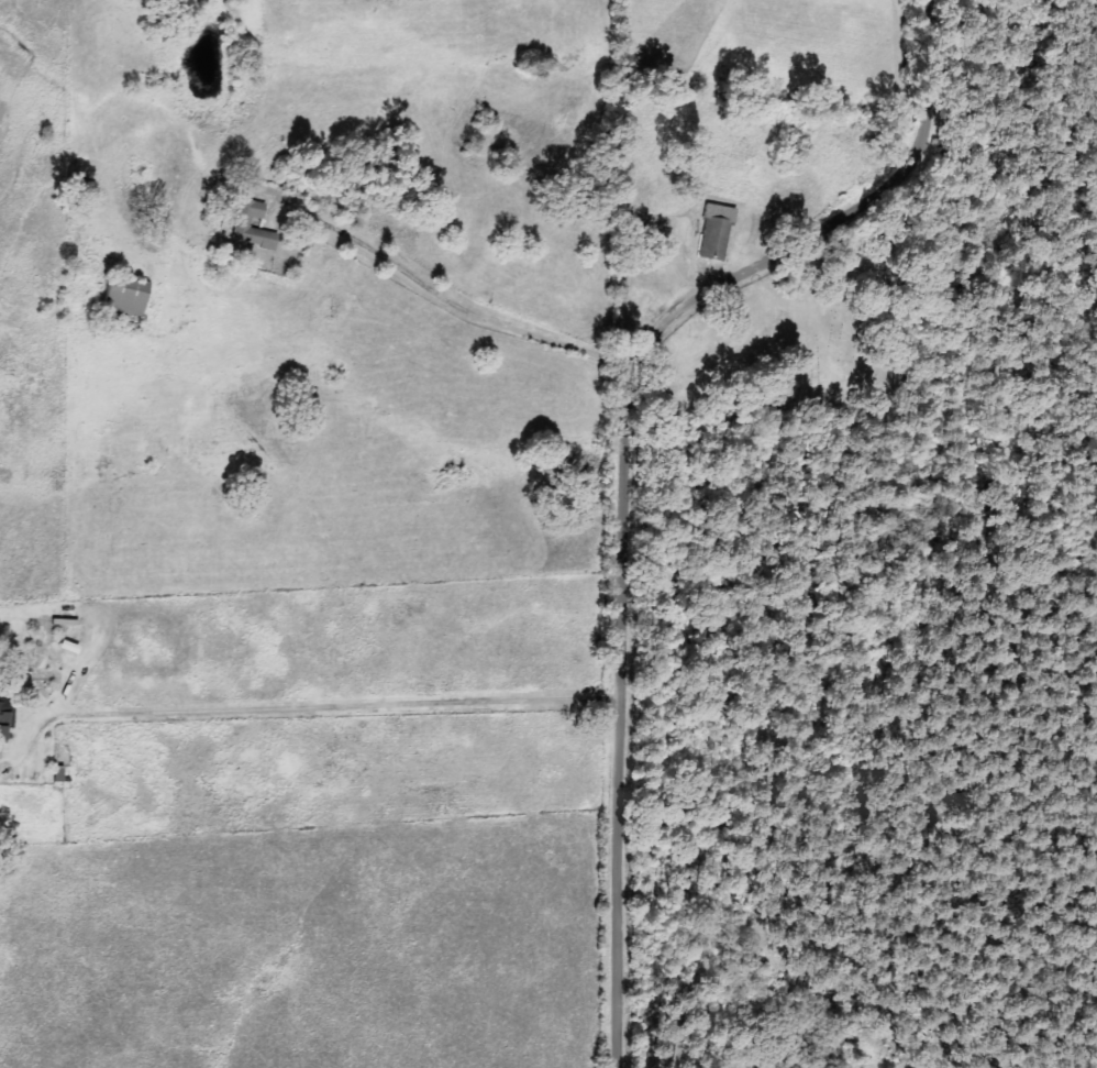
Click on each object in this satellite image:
building: (245, 224)
building: (714, 232)
building: (125, 298)
park: (800, 341)
road: (622, 456)
building: (2, 722)

